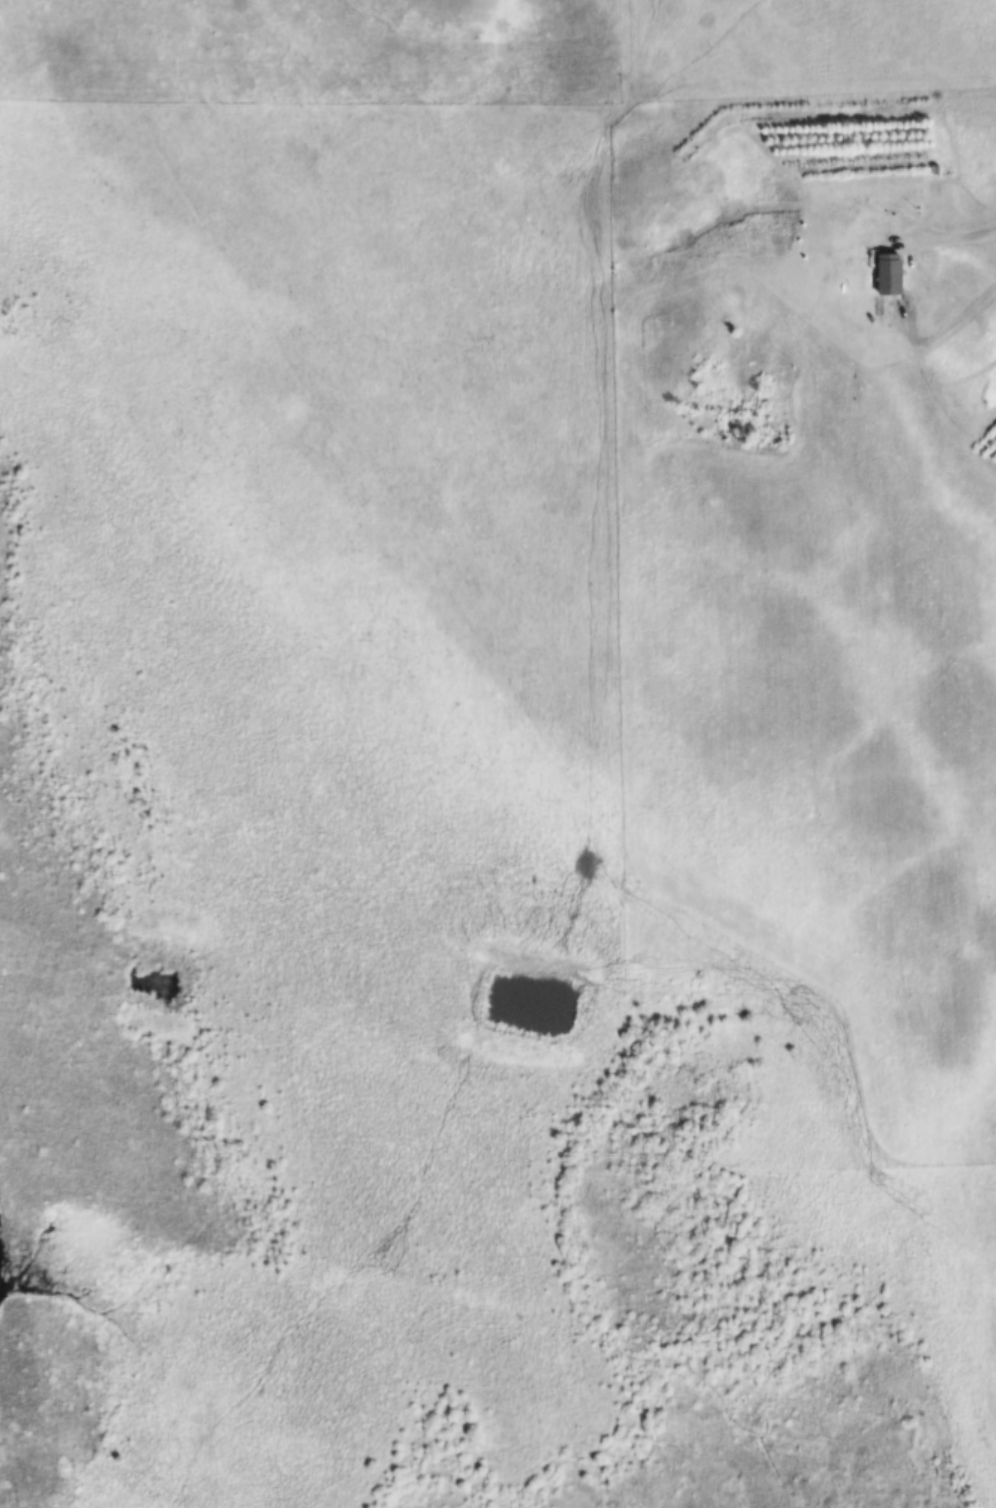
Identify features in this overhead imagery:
road: (952, 239)
building: (881, 276)
building: (837, 289)

